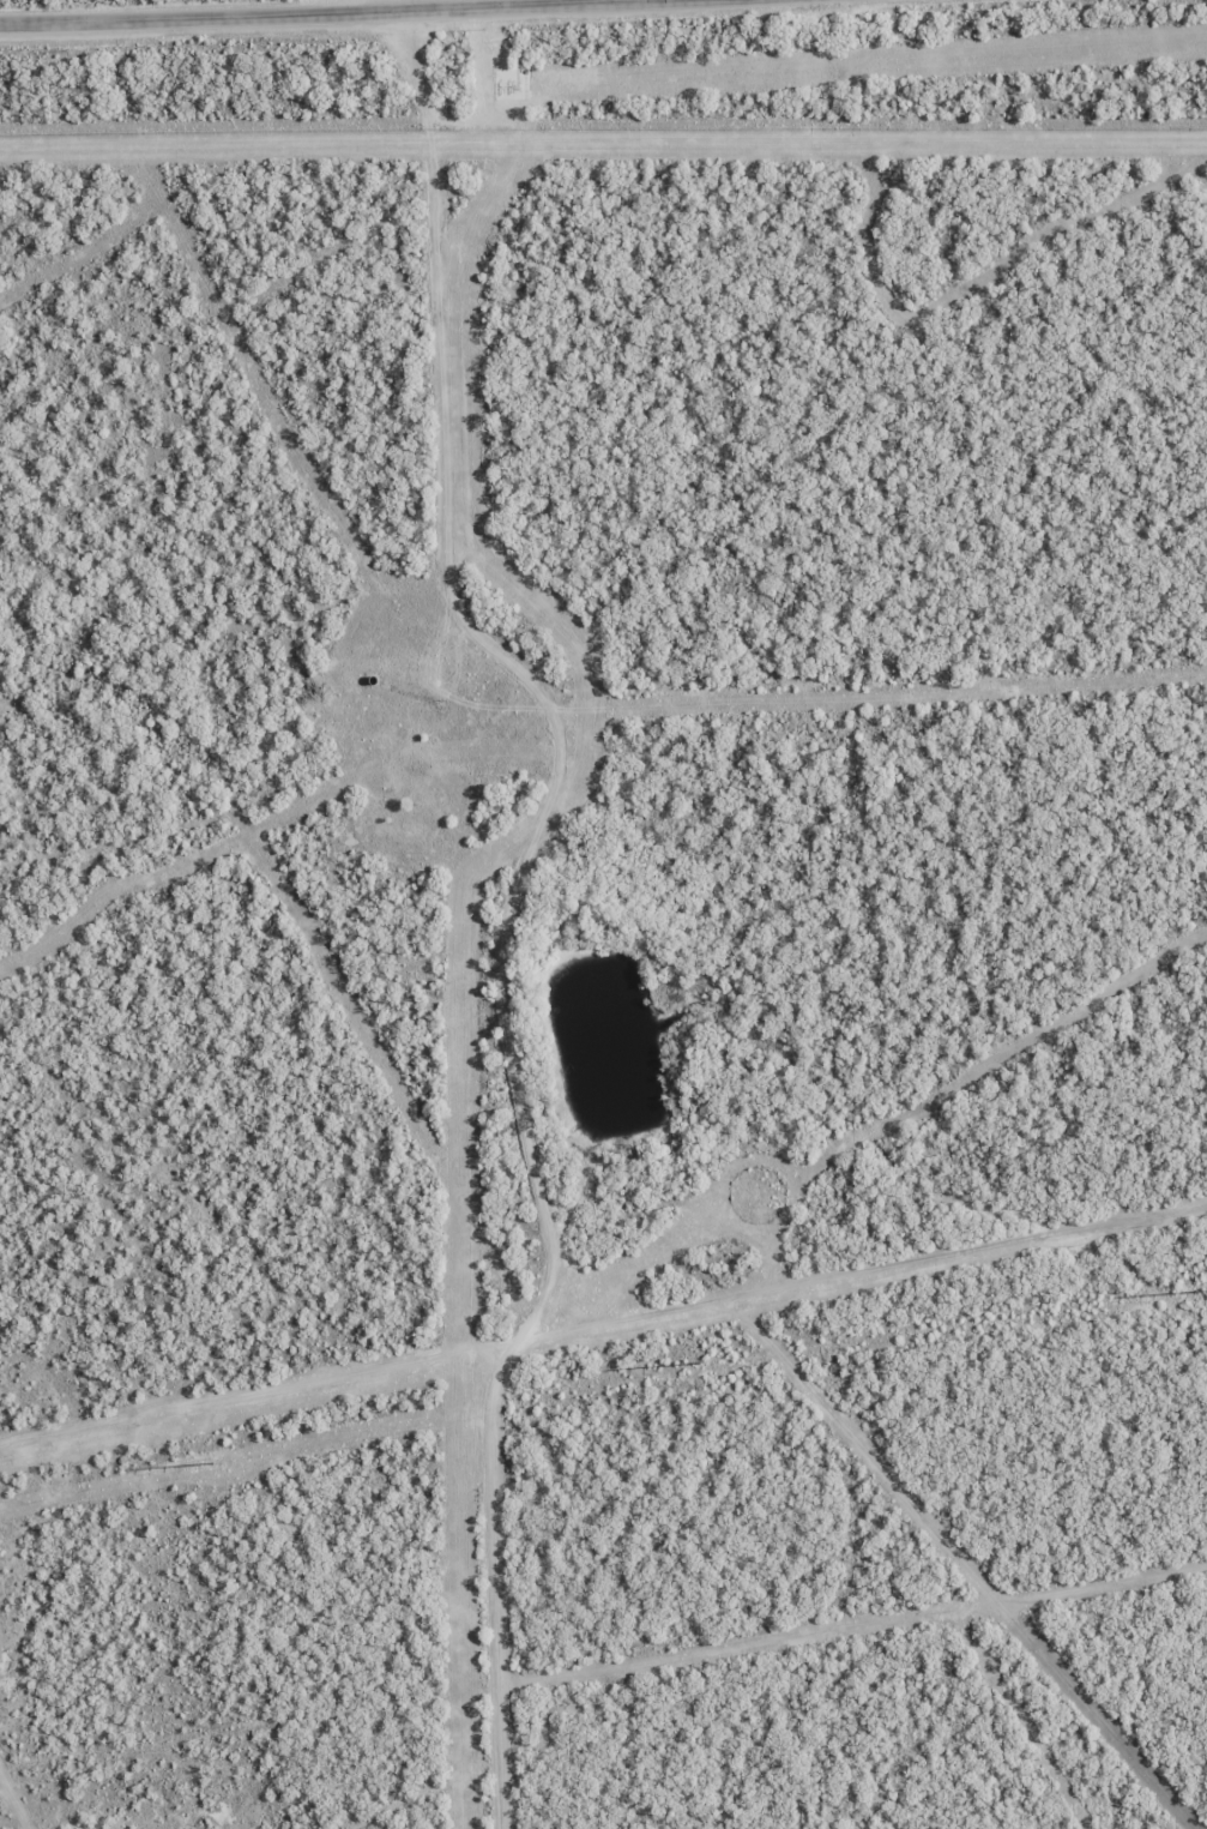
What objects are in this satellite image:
road: (355, 16)
power tower: (710, 1361)
power tower: (227, 1461)

